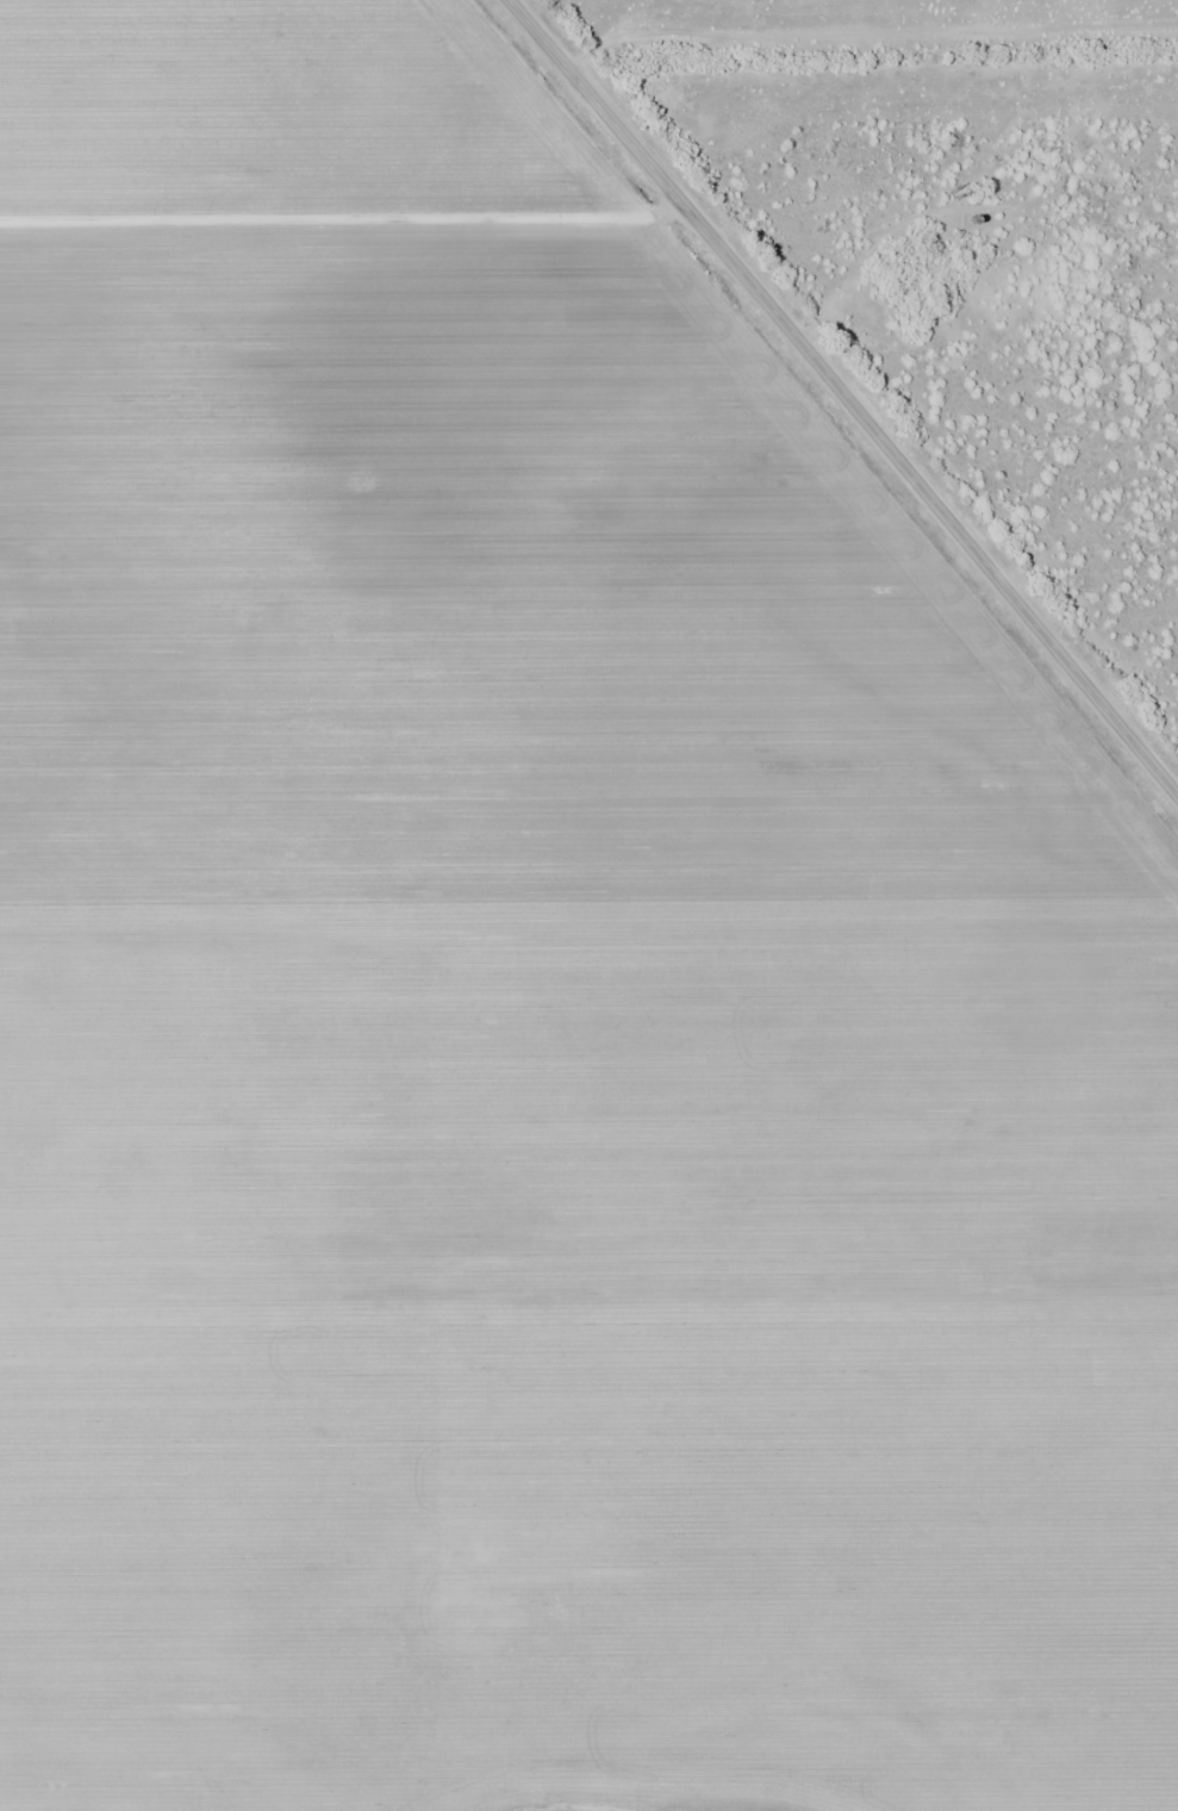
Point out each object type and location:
road: (866, 32)
road: (342, 218)
road: (843, 399)

